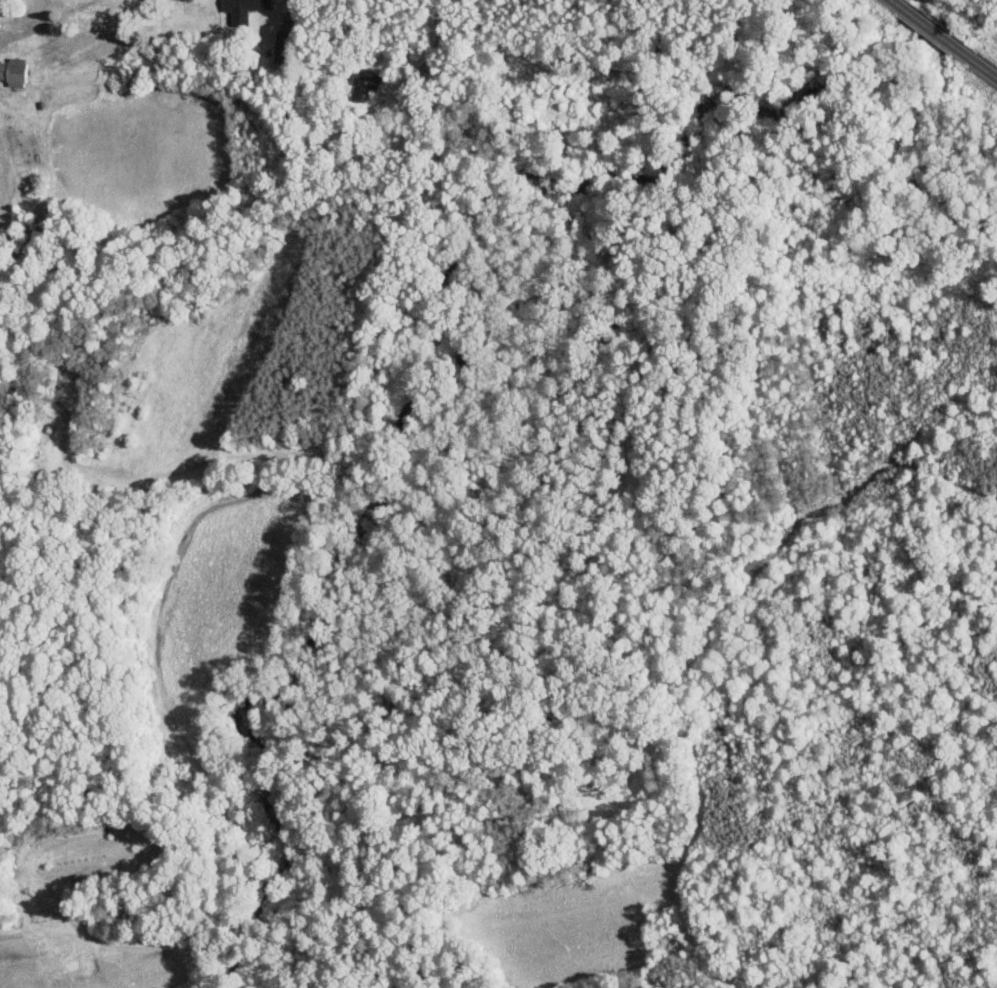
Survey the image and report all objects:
building: (240, 8)
road: (942, 39)
road: (30, 393)

